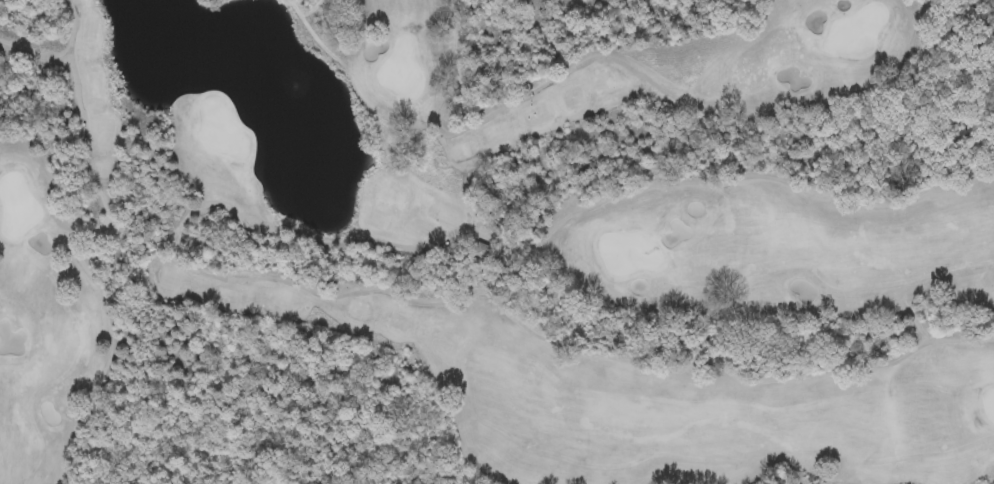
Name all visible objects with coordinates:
road: (72, 30)
park: (497, 242)
road: (328, 250)
building: (482, 252)

